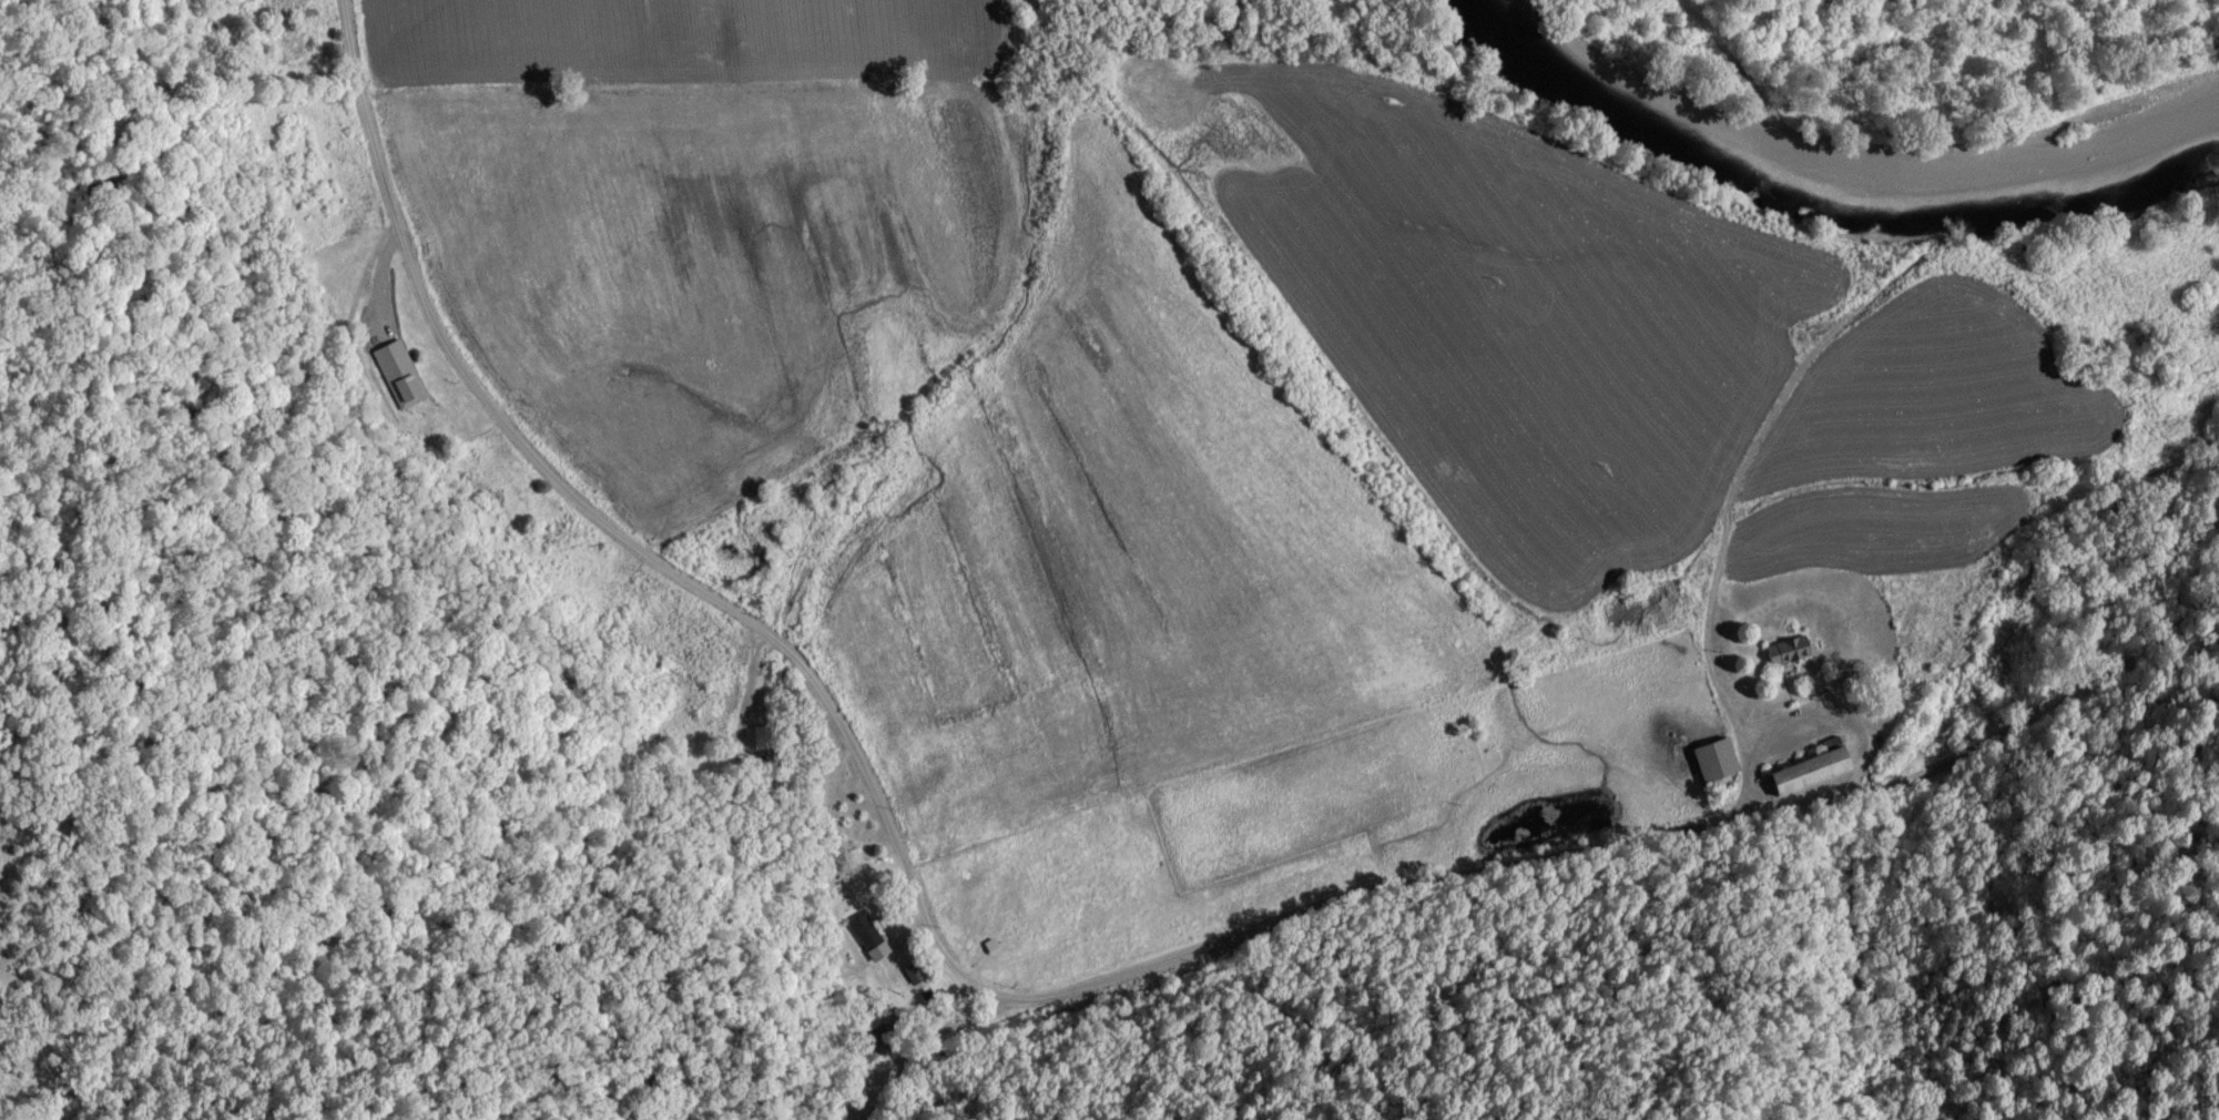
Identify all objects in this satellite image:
river: (1830, 186)
building: (399, 376)
crop: (1189, 429)
building: (1780, 652)
building: (1707, 760)
building: (1800, 772)
building: (862, 938)
road: (1018, 1001)

